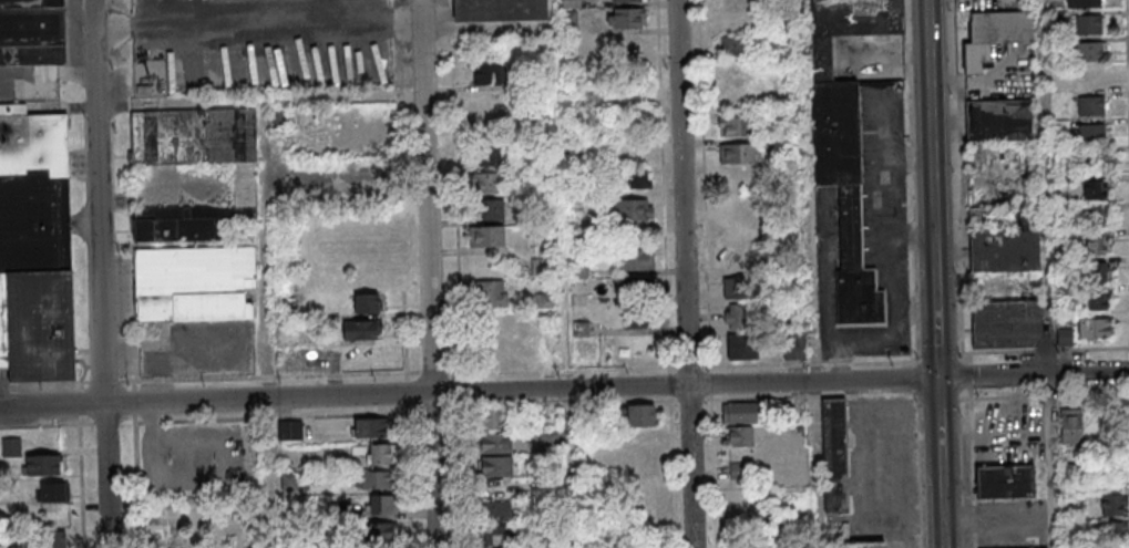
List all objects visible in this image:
building: (626, 1)
building: (571, 3)
building: (1085, 3)
building: (495, 7)
building: (627, 18)
building: (569, 21)
building: (1089, 25)
building: (32, 32)
building: (995, 35)
building: (625, 45)
building: (732, 48)
building: (1089, 51)
building: (489, 74)
building: (1092, 80)
road: (258, 100)
building: (1091, 107)
building: (999, 121)
building: (737, 127)
road: (928, 131)
building: (1092, 138)
building: (846, 143)
building: (736, 154)
building: (487, 155)
building: (636, 178)
building: (489, 182)
building: (245, 184)
road: (1045, 187)
building: (1092, 188)
road: (97, 201)
building: (634, 209)
building: (490, 210)
building: (1088, 216)
road: (889, 218)
building: (486, 236)
road: (912, 239)
building: (1091, 245)
building: (35, 246)
building: (1005, 251)
building: (636, 258)
building: (1095, 272)
road: (428, 273)
road: (565, 273)
road: (684, 273)
road: (812, 273)
building: (194, 283)
building: (639, 287)
building: (733, 288)
building: (492, 293)
building: (544, 298)
building: (1097, 301)
building: (367, 302)
building: (738, 317)
building: (639, 318)
road: (935, 319)
road: (268, 323)
building: (1006, 324)
building: (1094, 328)
building: (360, 329)
building: (1065, 337)
road: (875, 338)
building: (794, 345)
building: (741, 347)
traffic signals: (937, 379)
road: (564, 389)
building: (739, 413)
building: (639, 415)
building: (494, 417)
building: (1070, 426)
building: (371, 427)
building: (739, 437)
road: (938, 438)
building: (11, 446)
building: (378, 453)
building: (495, 455)
building: (834, 456)
road: (1051, 461)
building: (44, 464)
building: (741, 473)
road: (106, 476)
building: (374, 479)
building: (1006, 482)
road: (1091, 482)
building: (52, 492)
building: (381, 504)
building: (1113, 505)
building: (497, 523)
road: (942, 523)
building: (1109, 531)
building: (55, 537)
building: (378, 538)

